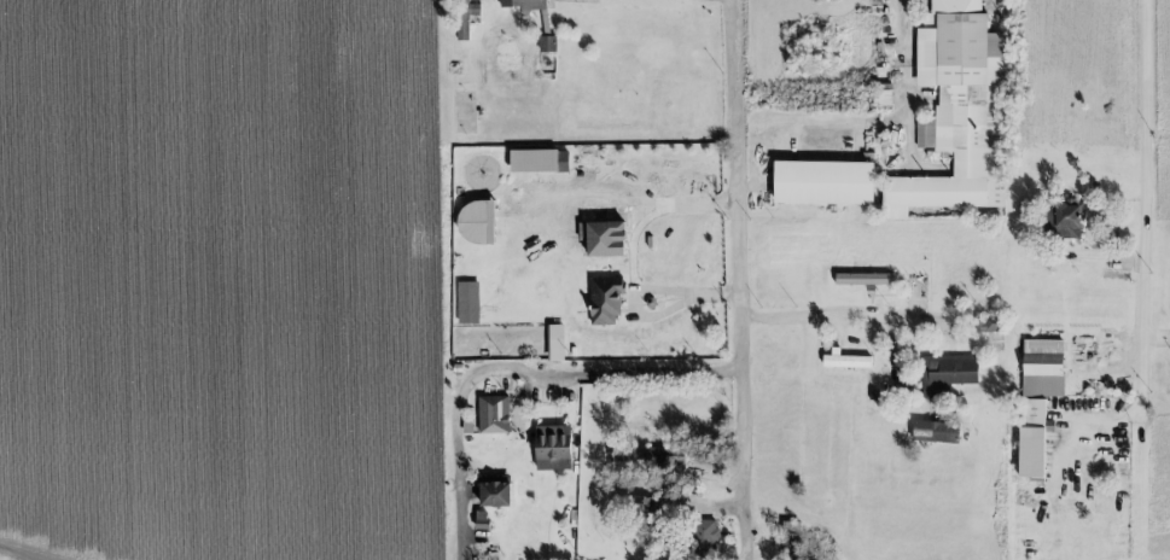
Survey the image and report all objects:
building: (524, 4)
building: (465, 18)
road: (908, 40)
building: (548, 45)
building: (878, 97)
building: (955, 112)
road: (1145, 145)
building: (822, 183)
building: (1061, 221)
building: (475, 223)
road: (631, 255)
road: (744, 280)
building: (861, 280)
building: (605, 301)
building: (466, 303)
road: (819, 316)
building: (988, 325)
building: (844, 361)
road: (514, 367)
building: (1042, 369)
road: (1129, 372)
building: (945, 375)
building: (493, 416)
building: (933, 432)
building: (1031, 439)
building: (552, 449)
building: (494, 496)
building: (640, 508)
building: (481, 521)
building: (704, 537)

